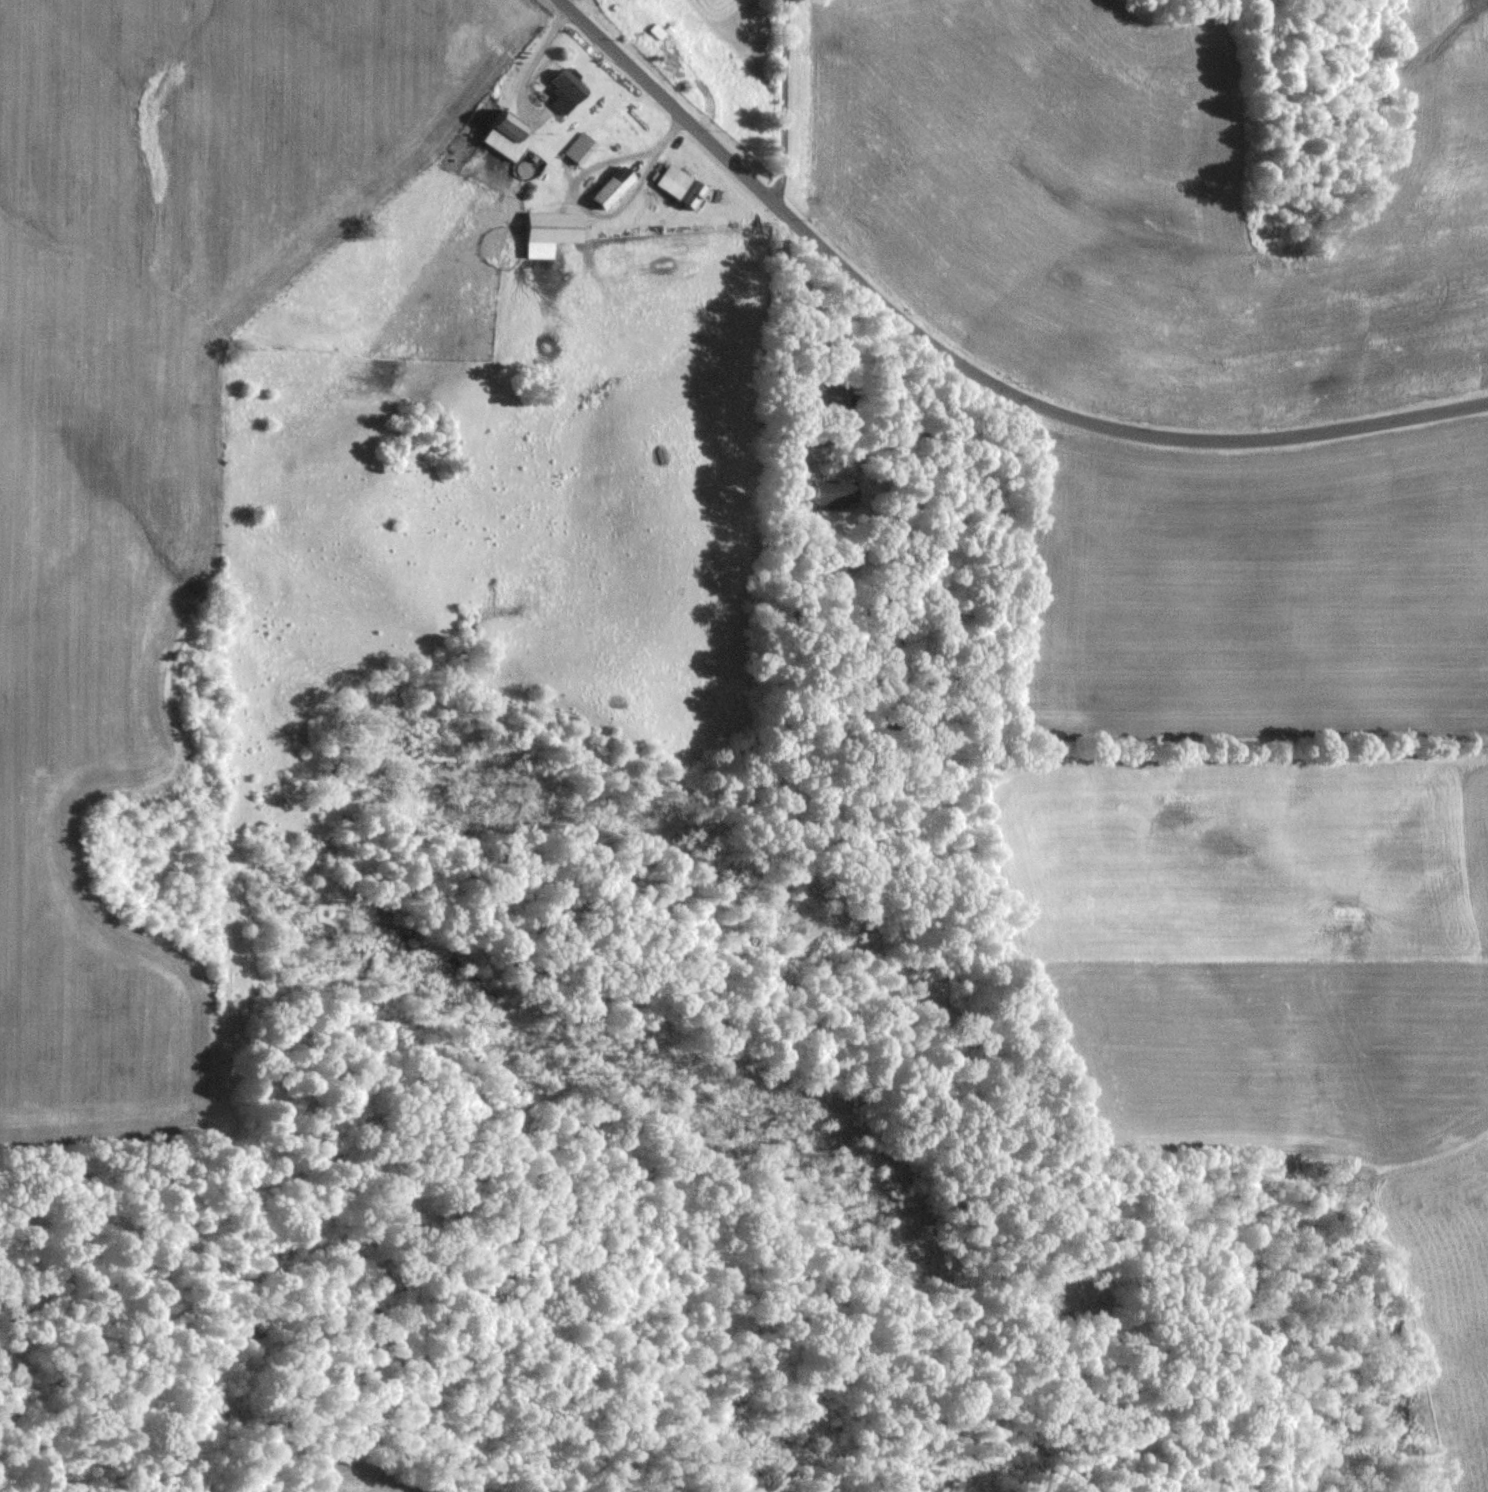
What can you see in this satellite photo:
building: (637, 26)
road: (531, 62)
building: (564, 92)
road: (787, 101)
building: (503, 136)
building: (582, 152)
building: (680, 187)
building: (611, 188)
building: (549, 233)
road: (810, 323)
road: (960, 367)
building: (832, 390)
building: (795, 449)
building: (798, 474)
building: (833, 492)

